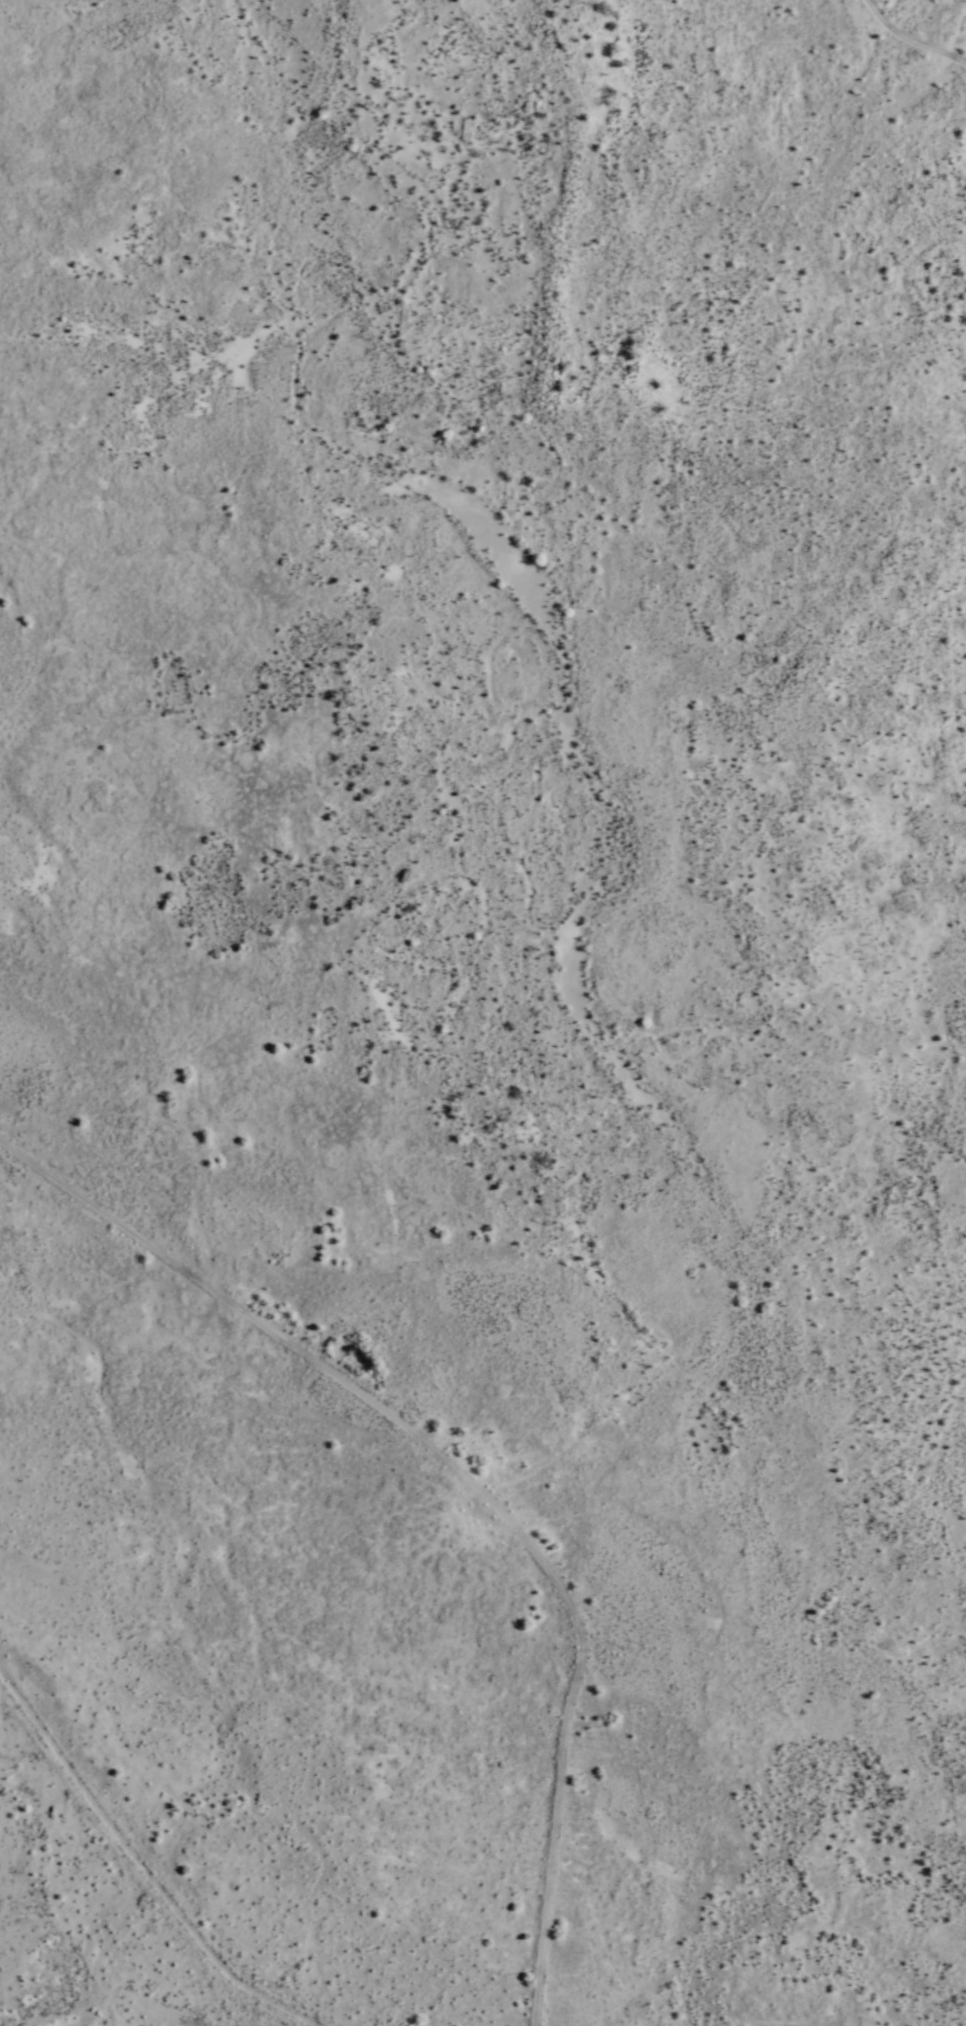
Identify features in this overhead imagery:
road: (901, 47)
road: (460, 1493)

